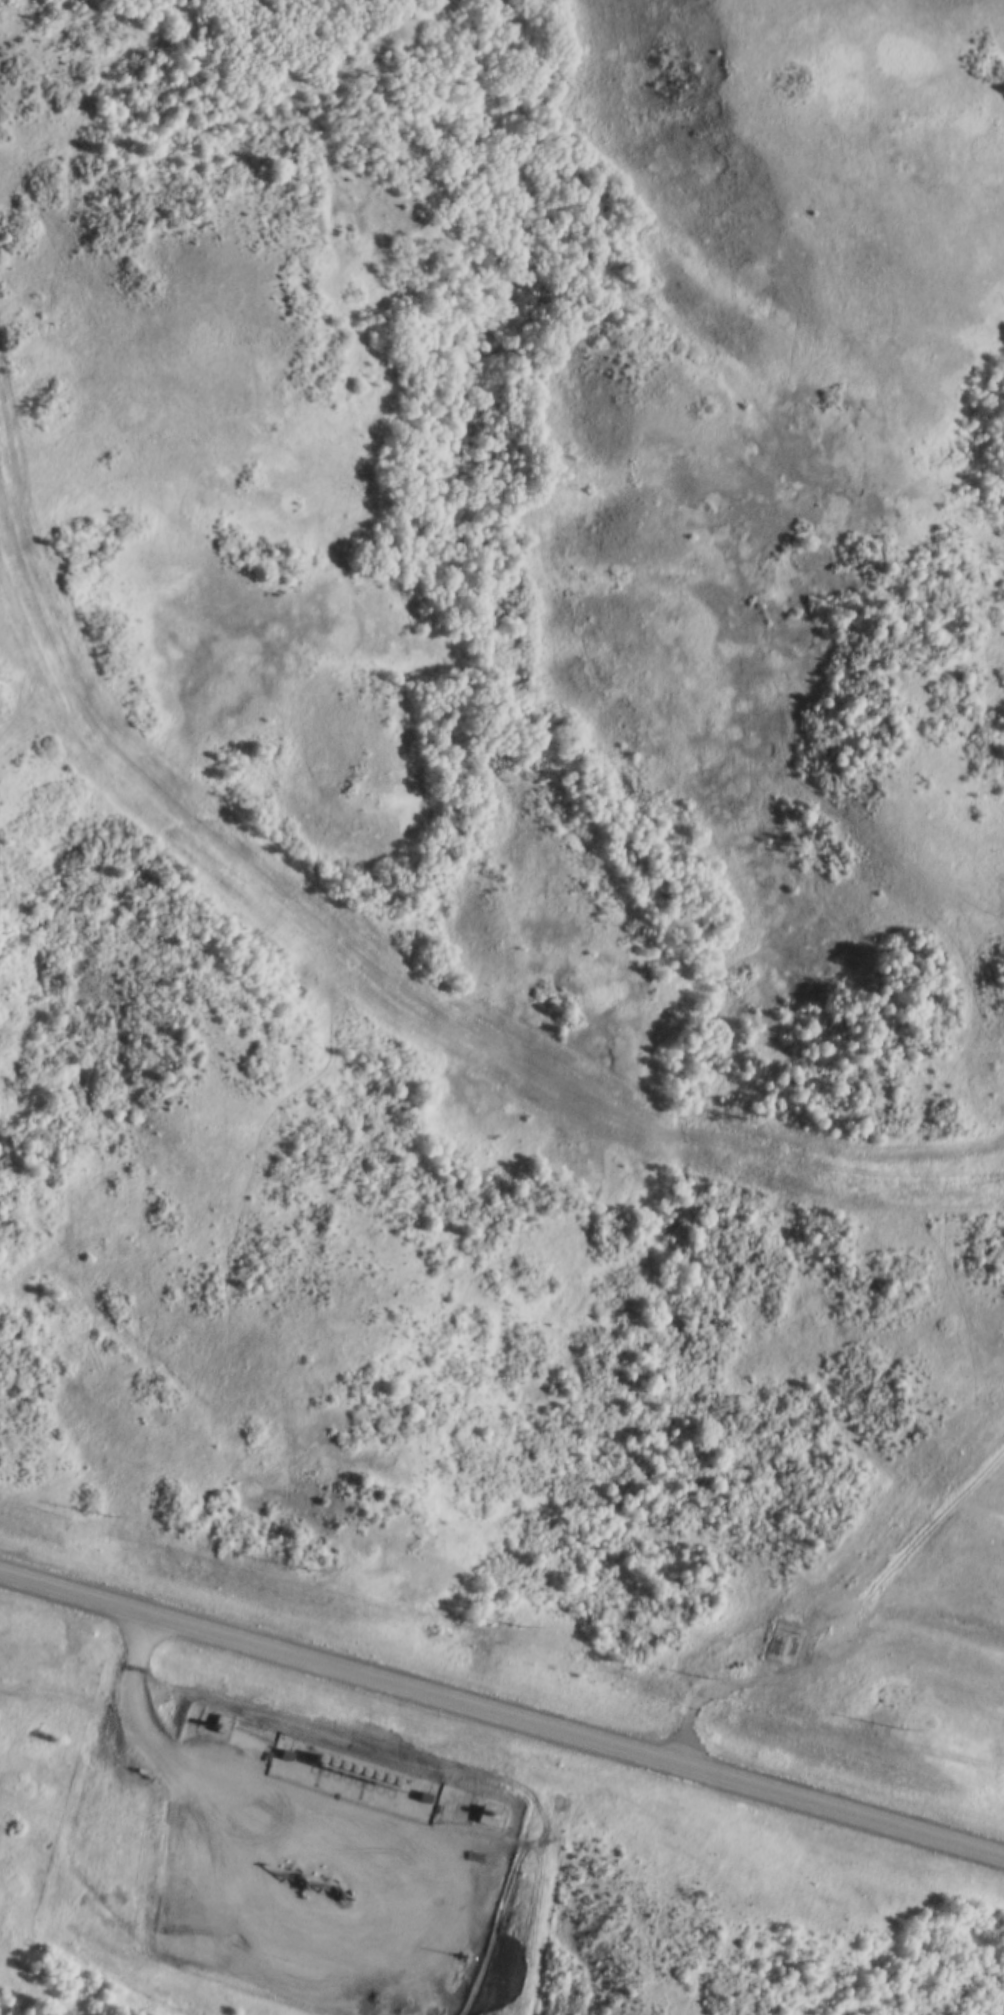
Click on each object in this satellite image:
road: (500, 1717)
petroleum well: (293, 1888)
petroleum well: (329, 1894)

